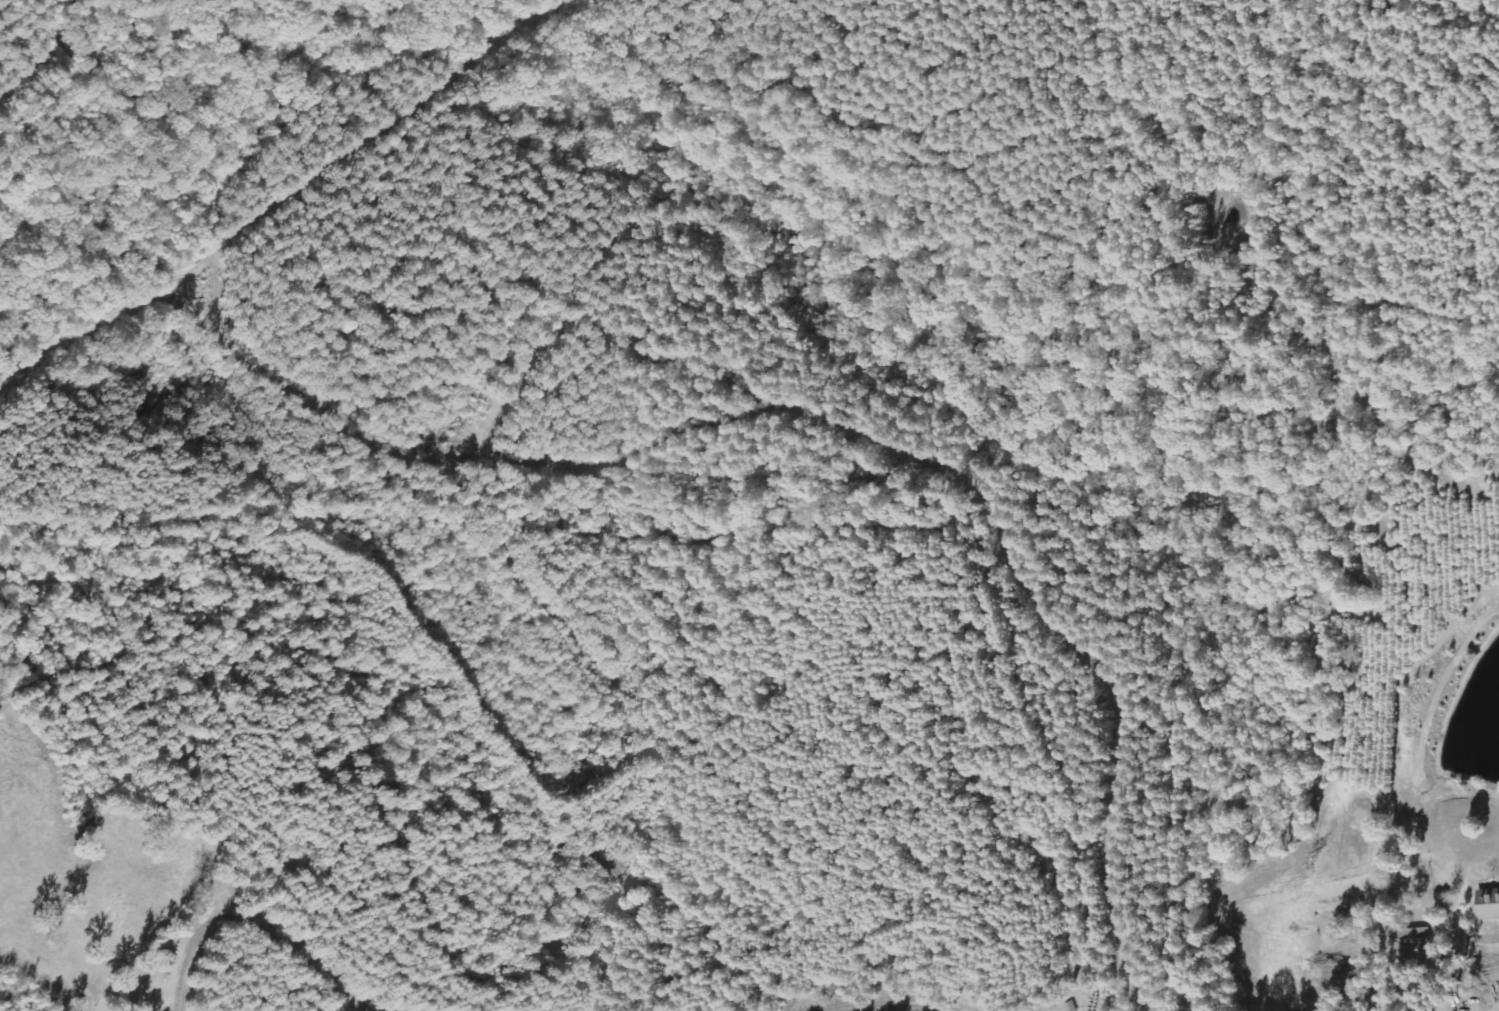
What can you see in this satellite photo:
building: (1489, 905)

